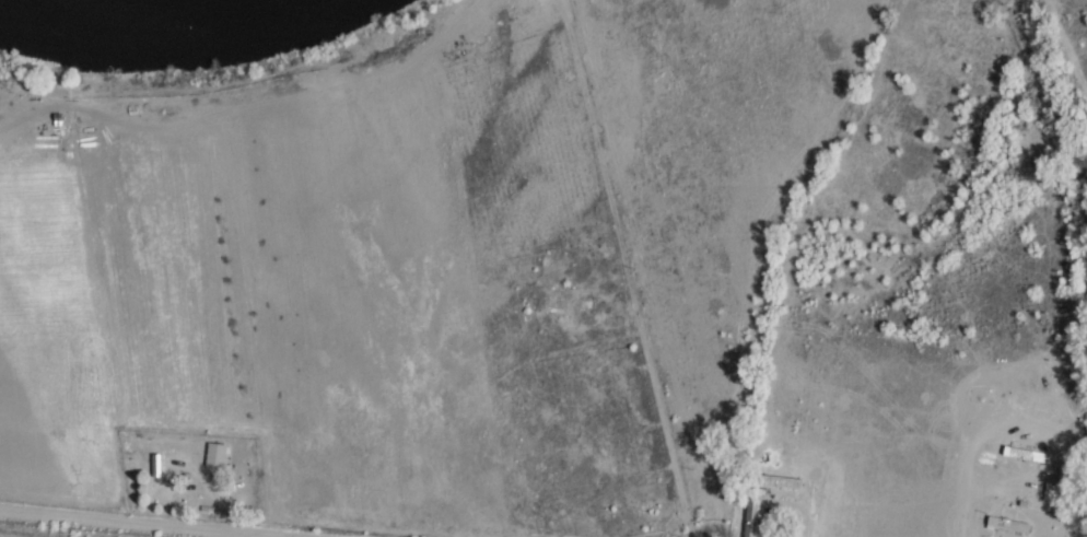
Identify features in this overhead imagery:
building: (514, 1)
river: (190, 7)
river: (1072, 126)
road: (656, 423)
building: (1035, 454)
building: (217, 455)
building: (783, 481)
building: (751, 517)
road: (135, 524)

